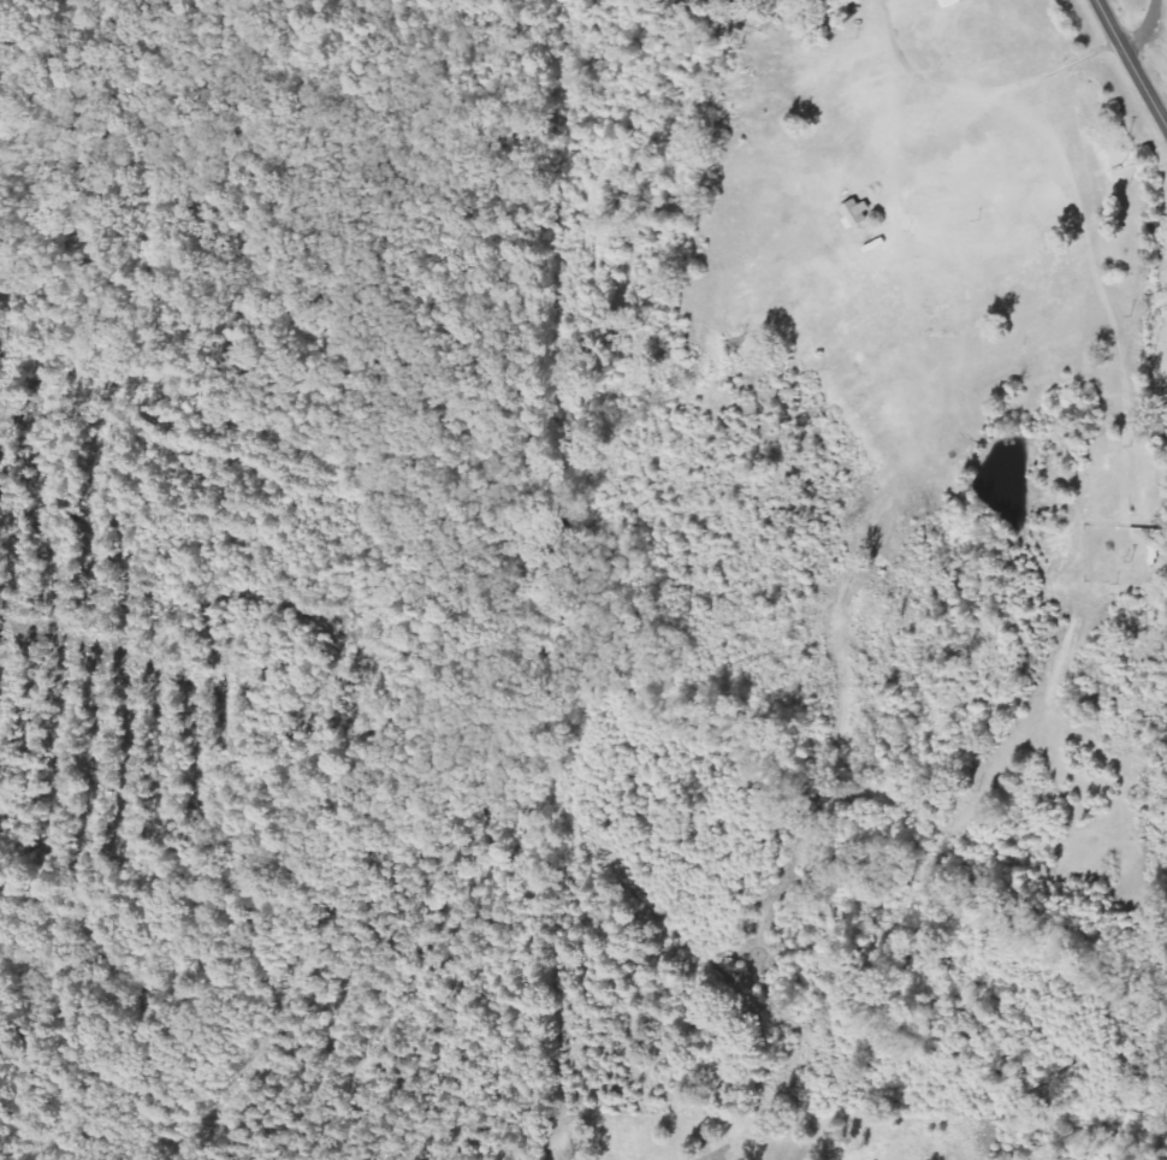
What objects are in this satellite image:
building: (950, 2)
road: (1129, 26)
road: (1133, 58)
building: (859, 213)
road: (1149, 220)

